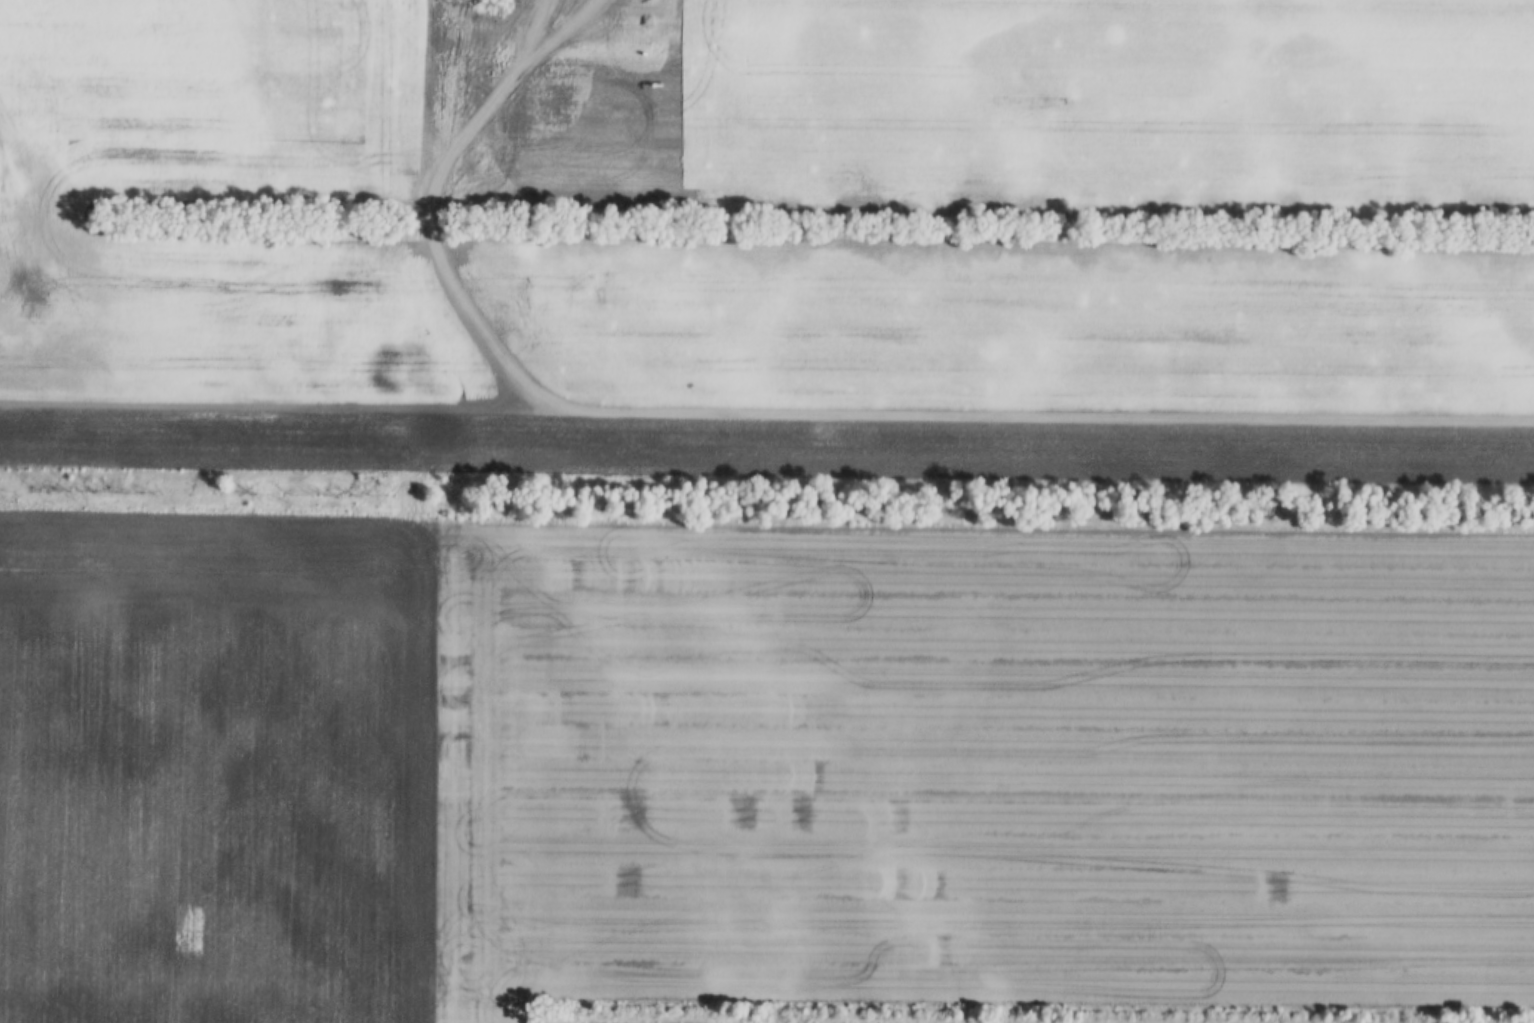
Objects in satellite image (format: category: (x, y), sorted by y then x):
quarry: (184, 304)
road: (767, 413)

